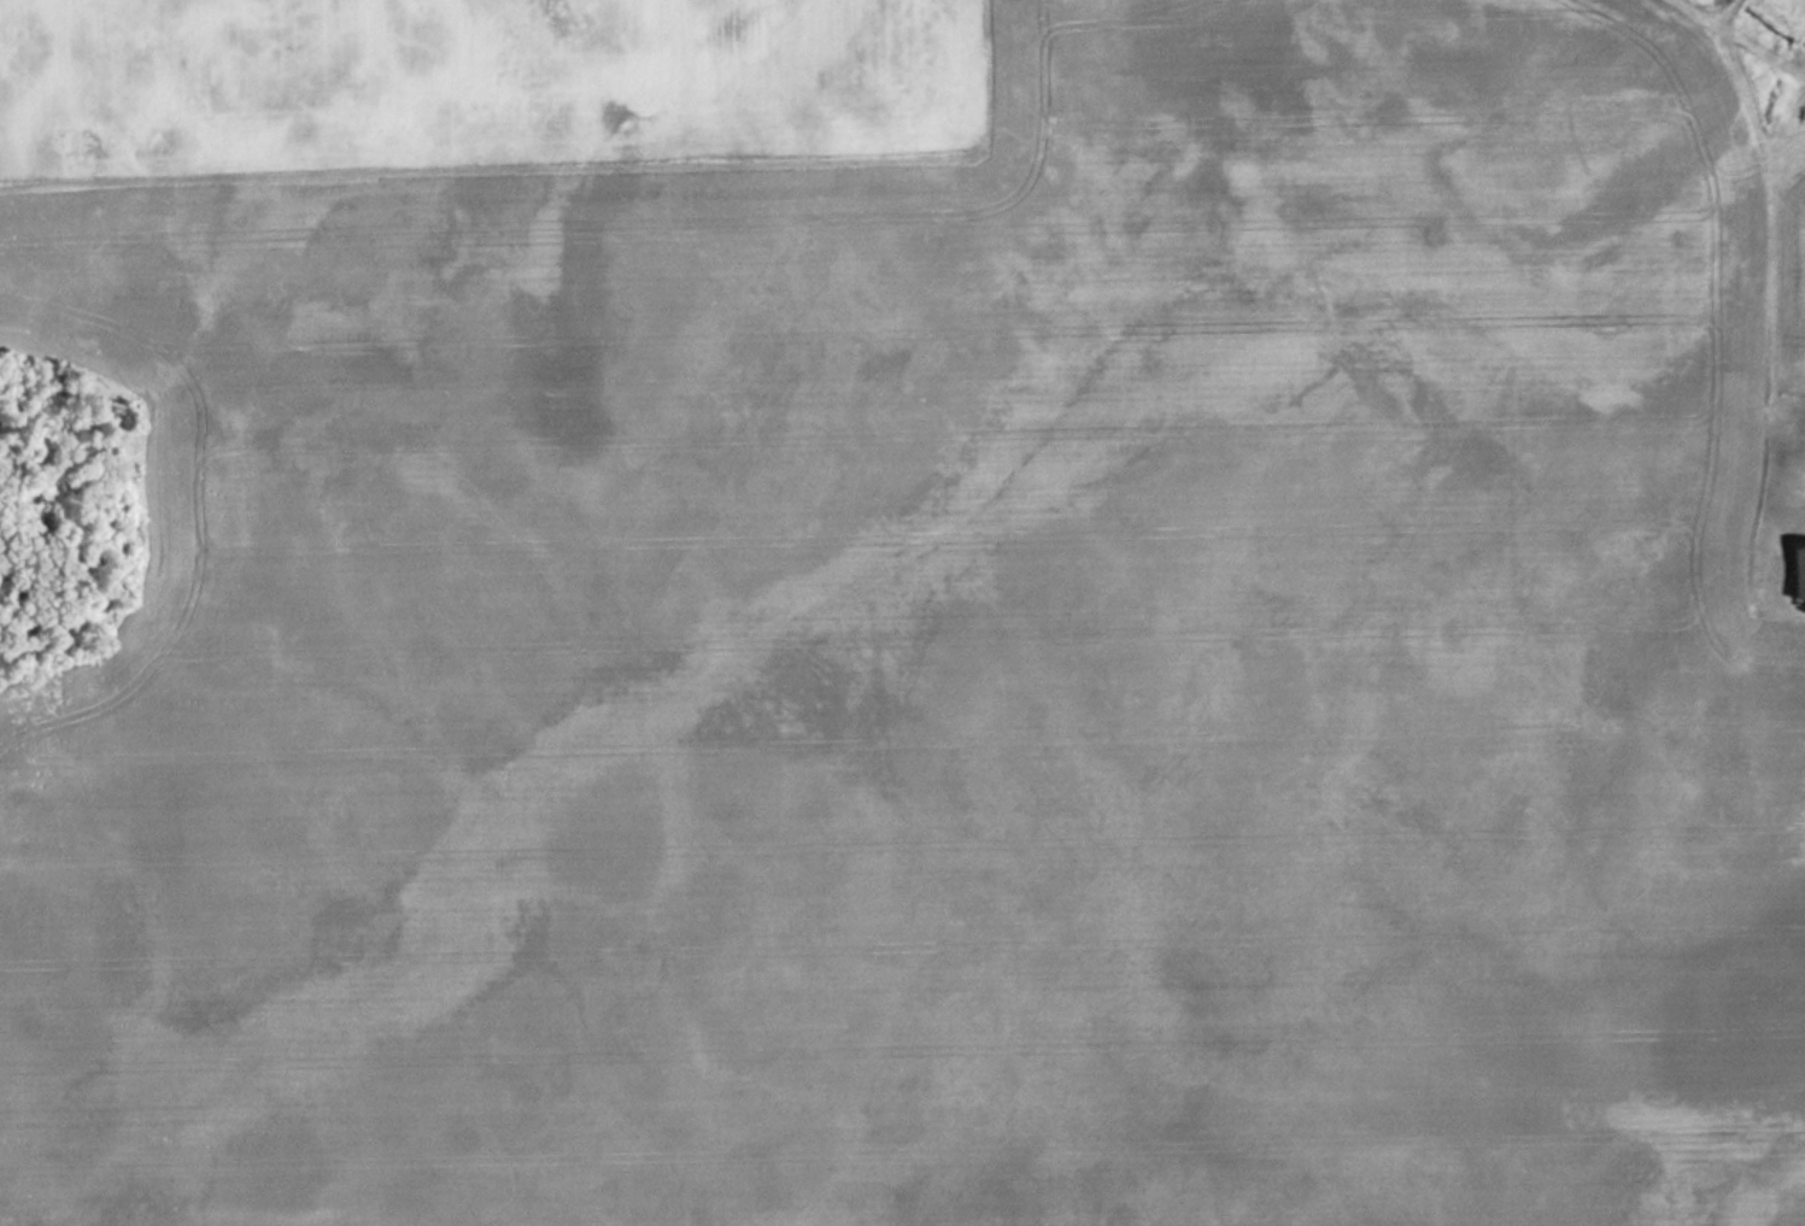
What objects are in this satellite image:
building: (1795, 569)

